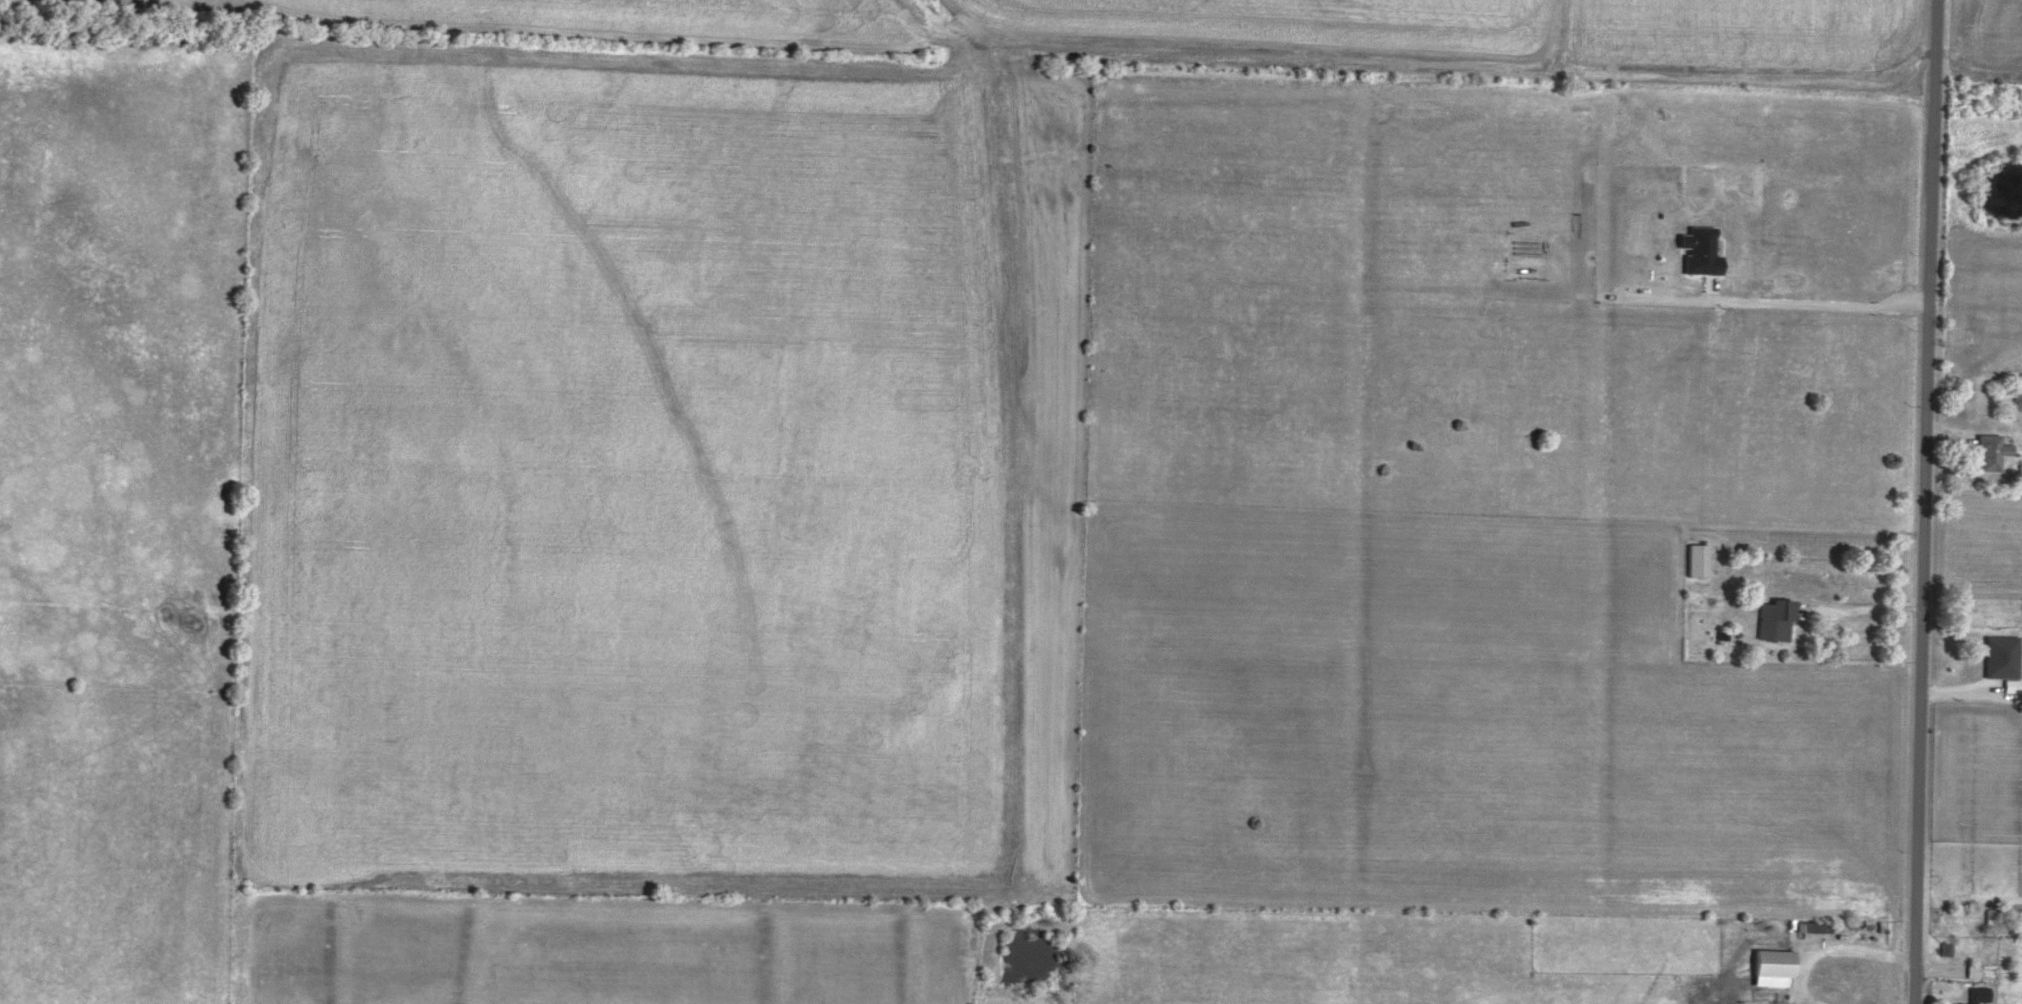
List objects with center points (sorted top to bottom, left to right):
building: (1700, 250)
road: (1765, 304)
building: (2018, 394)
building: (1991, 450)
road: (1923, 502)
building: (1697, 558)
road: (1858, 609)
building: (1774, 618)
building: (2001, 655)
building: (2012, 684)
building: (1945, 947)
building: (1771, 965)
building: (1972, 970)
building: (1975, 994)

